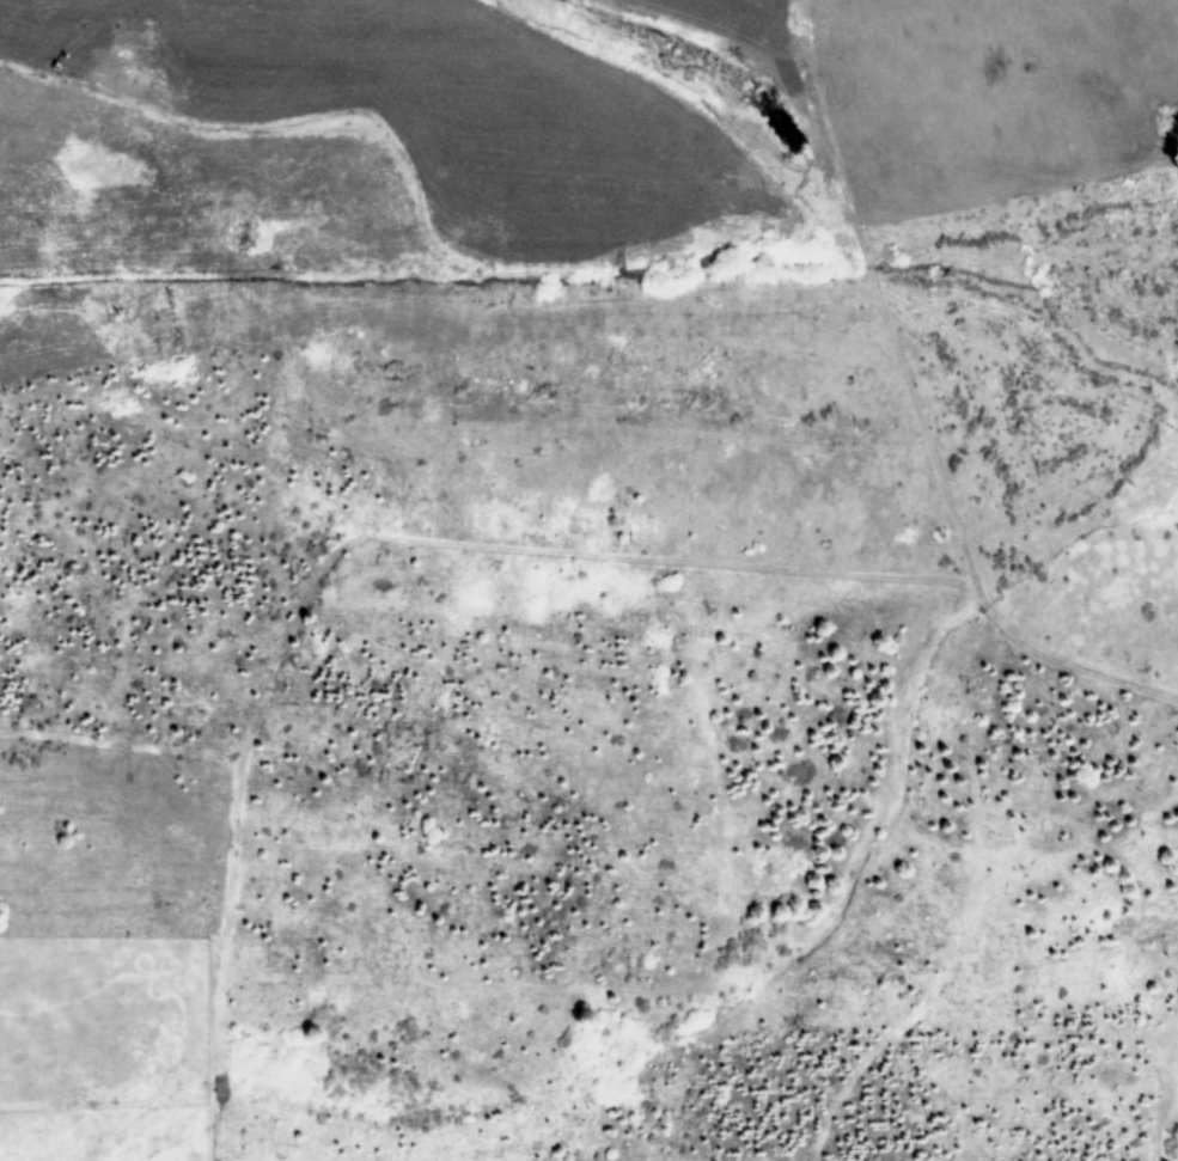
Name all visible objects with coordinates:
crop: (588, 580)

